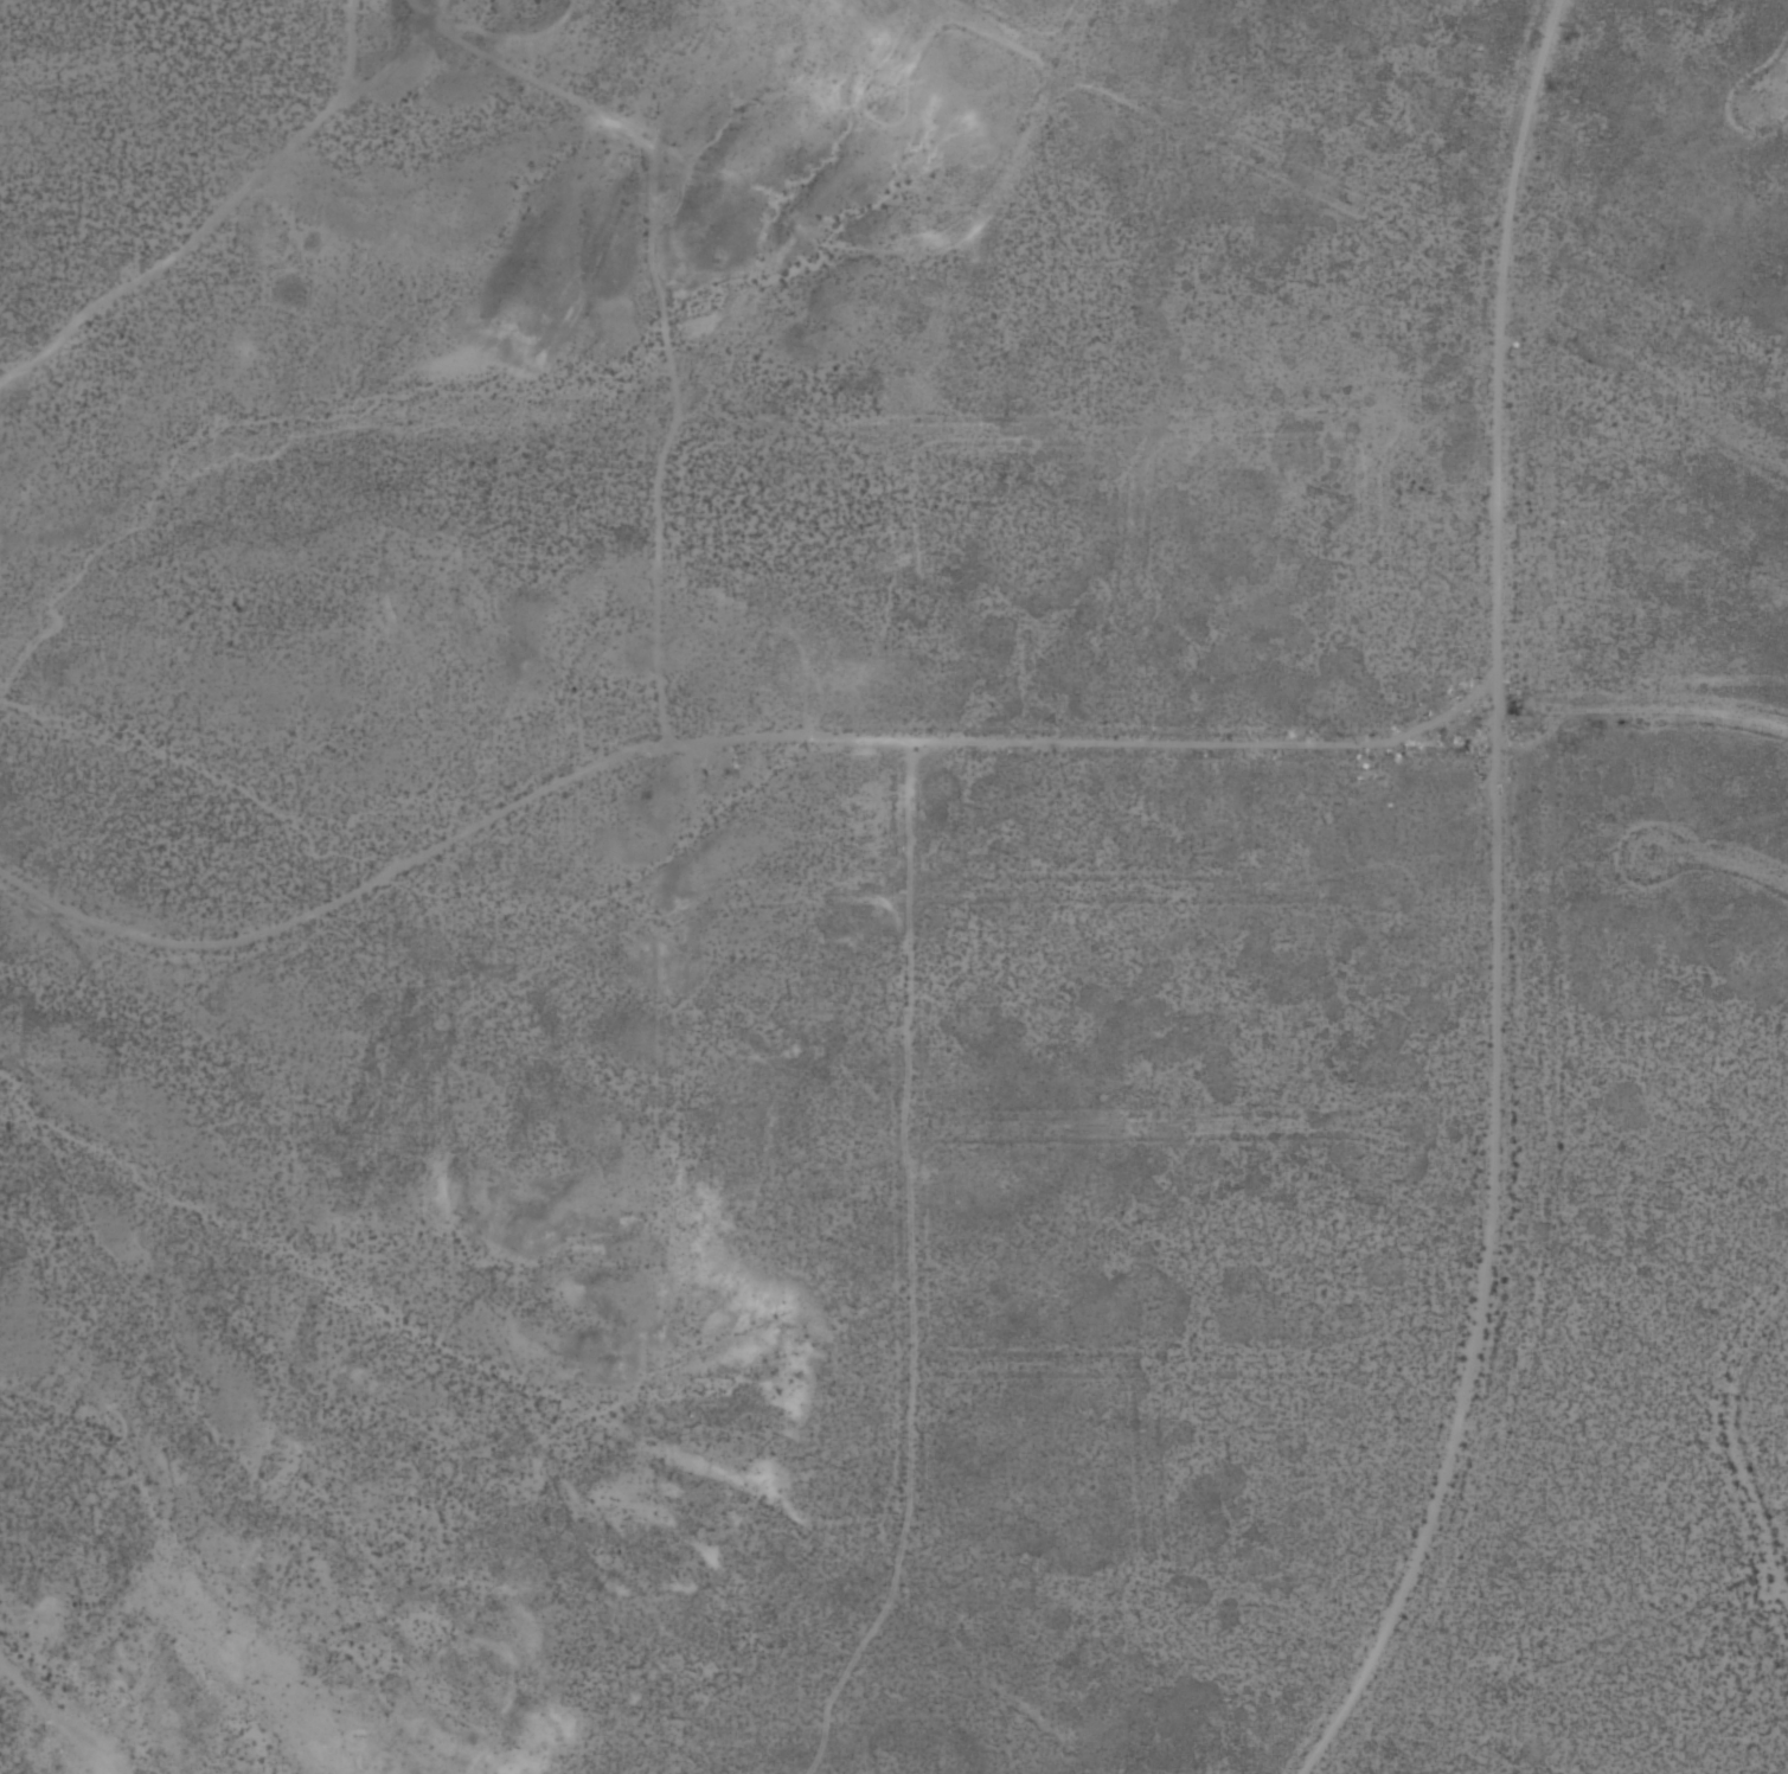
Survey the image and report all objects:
road: (1501, 905)

